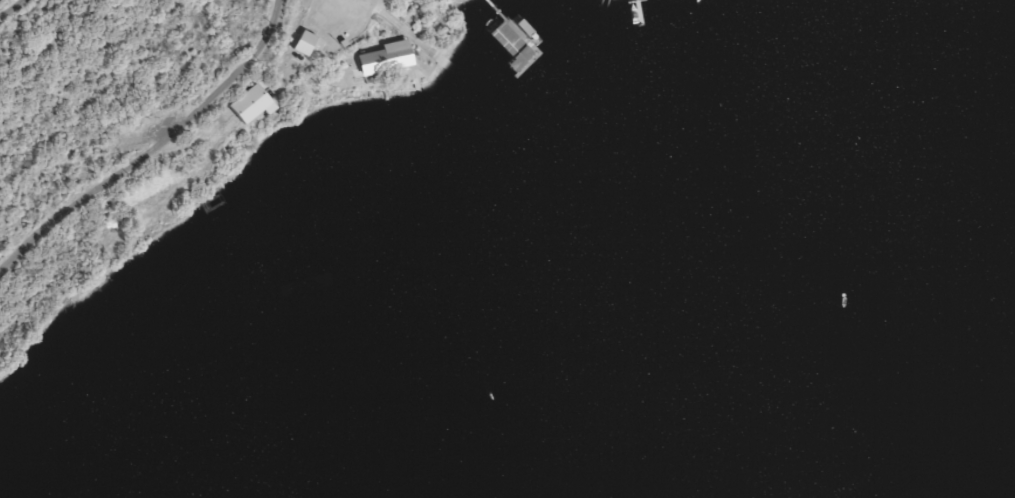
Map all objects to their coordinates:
building: (743, 0)
building: (435, 1)
road: (7, 6)
building: (303, 44)
building: (508, 46)
building: (383, 60)
building: (248, 106)
road: (151, 144)

